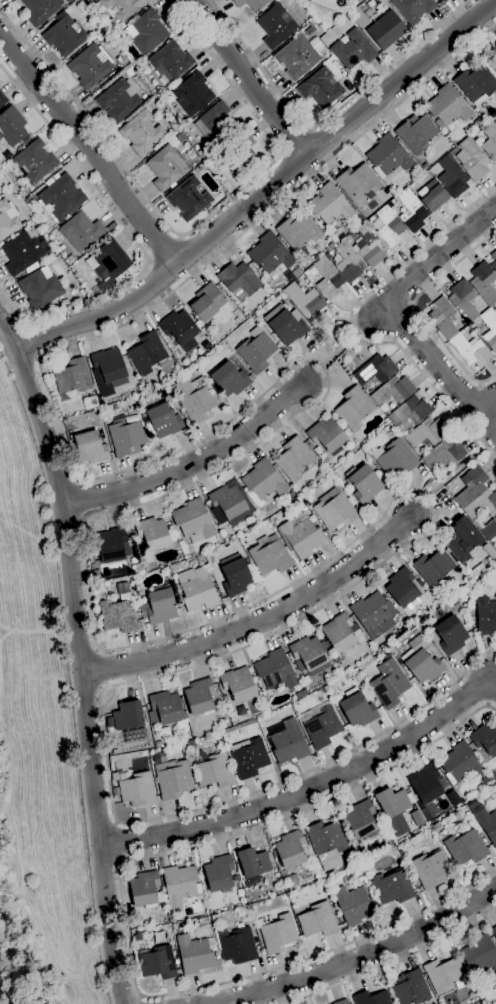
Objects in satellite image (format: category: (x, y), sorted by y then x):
building: (442, 0)
building: (69, 1)
building: (359, 1)
building: (251, 4)
building: (333, 5)
building: (120, 8)
building: (413, 9)
building: (41, 10)
building: (275, 27)
building: (386, 30)
building: (146, 32)
building: (64, 36)
building: (495, 46)
building: (353, 50)
building: (296, 58)
building: (123, 62)
building: (170, 62)
building: (492, 63)
building: (91, 66)
building: (128, 69)
road: (255, 79)
building: (475, 85)
building: (321, 89)
building: (192, 95)
building: (2, 100)
building: (118, 101)
building: (448, 106)
road: (327, 118)
building: (213, 121)
building: (11, 127)
building: (141, 132)
building: (416, 134)
building: (179, 138)
building: (489, 139)
road: (90, 149)
building: (240, 152)
building: (388, 156)
building: (472, 159)
building: (34, 161)
building: (165, 168)
building: (452, 177)
building: (358, 183)
road: (270, 196)
building: (432, 196)
building: (60, 197)
building: (189, 197)
building: (329, 205)
building: (411, 211)
building: (7, 220)
road: (192, 226)
building: (389, 227)
building: (298, 231)
building: (80, 232)
road: (131, 235)
building: (367, 246)
building: (22, 252)
building: (271, 256)
road: (432, 260)
building: (108, 261)
building: (347, 262)
building: (493, 264)
building: (328, 279)
building: (239, 281)
building: (484, 283)
building: (40, 288)
building: (72, 300)
building: (304, 300)
building: (463, 300)
building: (209, 304)
road: (416, 309)
building: (442, 318)
building: (285, 325)
road: (351, 326)
building: (489, 330)
building: (179, 332)
road: (30, 341)
building: (256, 350)
road: (338, 350)
building: (470, 351)
building: (148, 354)
building: (109, 365)
building: (376, 370)
road: (441, 371)
building: (72, 377)
building: (230, 380)
building: (369, 385)
building: (393, 391)
road: (487, 393)
building: (65, 398)
building: (194, 399)
road: (486, 405)
building: (355, 409)
building: (409, 414)
building: (164, 421)
building: (427, 433)
building: (327, 436)
building: (126, 438)
building: (90, 448)
building: (443, 454)
building: (394, 458)
building: (293, 459)
road: (193, 465)
road: (455, 472)
building: (262, 482)
building: (363, 483)
building: (469, 486)
building: (227, 501)
building: (482, 505)
building: (336, 510)
building: (192, 520)
building: (489, 530)
building: (152, 534)
building: (300, 538)
building: (462, 540)
building: (113, 545)
building: (495, 551)
building: (270, 556)
building: (200, 558)
building: (137, 568)
building: (433, 568)
building: (95, 574)
building: (235, 575)
building: (402, 588)
building: (197, 589)
building: (158, 606)
road: (91, 614)
building: (119, 615)
building: (373, 615)
building: (485, 615)
building: (435, 616)
road: (265, 624)
building: (339, 633)
building: (449, 636)
building: (432, 638)
road: (96, 650)
building: (311, 654)
road: (82, 657)
building: (421, 661)
road: (96, 670)
building: (275, 670)
building: (389, 684)
building: (238, 685)
road: (100, 689)
building: (301, 694)
building: (199, 698)
building: (225, 699)
building: (165, 708)
building: (357, 709)
building: (128, 716)
building: (146, 718)
building: (109, 723)
building: (322, 728)
building: (134, 732)
building: (136, 736)
building: (485, 739)
building: (136, 741)
building: (287, 742)
building: (190, 744)
building: (158, 745)
building: (182, 746)
building: (249, 758)
building: (461, 764)
building: (211, 769)
building: (173, 779)
building: (486, 779)
building: (425, 784)
building: (138, 791)
road: (310, 791)
building: (473, 805)
building: (394, 809)
building: (361, 820)
building: (486, 823)
road: (116, 824)
building: (327, 841)
road: (118, 845)
building: (465, 848)
building: (291, 850)
building: (272, 861)
road: (121, 862)
building: (253, 863)
building: (431, 869)
building: (218, 874)
building: (180, 885)
building: (392, 887)
building: (144, 890)
building: (353, 905)
road: (122, 915)
building: (251, 920)
building: (171, 921)
building: (317, 921)
building: (204, 922)
building: (174, 926)
building: (494, 932)
building: (277, 933)
building: (238, 946)
building: (216, 954)
building: (194, 955)
building: (480, 955)
road: (354, 959)
building: (157, 963)
road: (390, 964)
building: (445, 975)
building: (410, 989)
road: (139, 997)
building: (371, 998)
road: (138, 1001)
building: (341, 1002)
building: (476, 1003)

